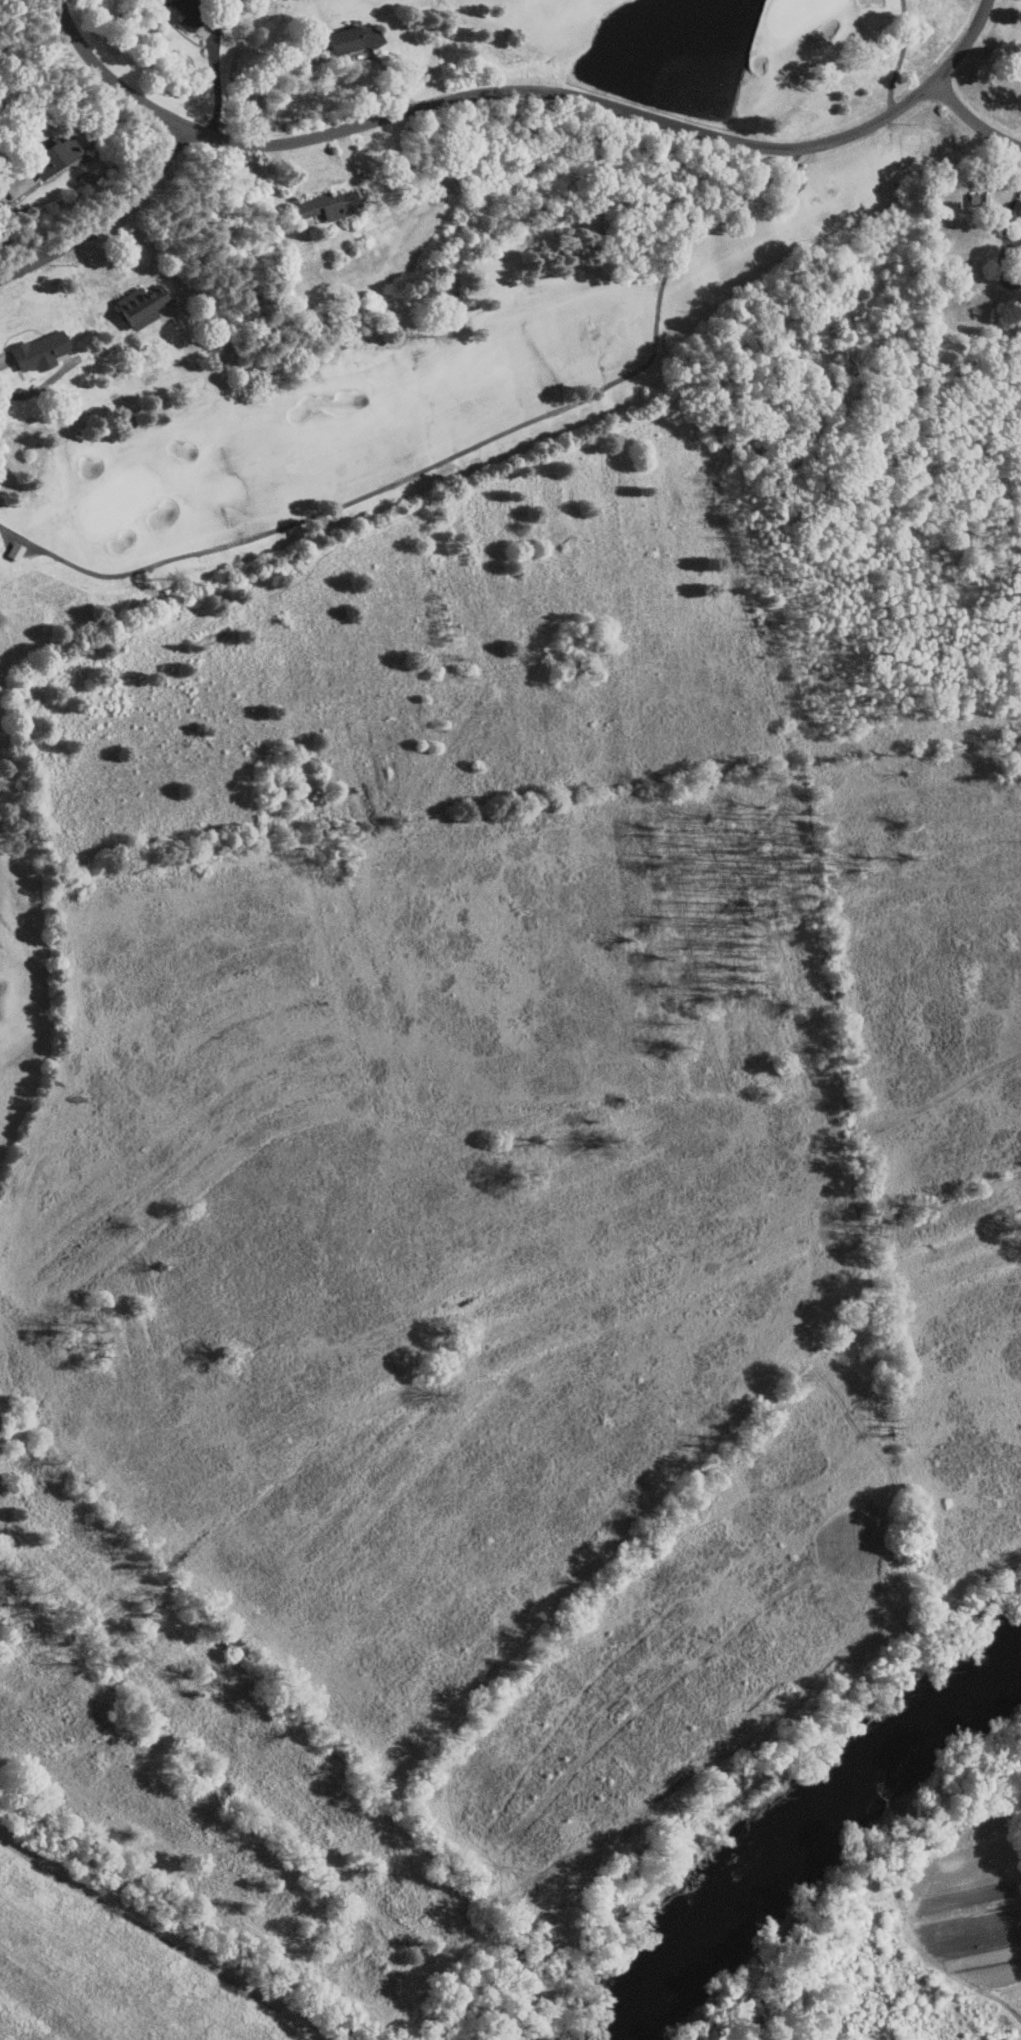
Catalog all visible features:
building: (183, 12)
building: (354, 37)
road: (919, 47)
road: (319, 59)
road: (217, 68)
road: (526, 91)
road: (973, 121)
building: (47, 154)
building: (326, 204)
road: (109, 220)
building: (137, 305)
building: (36, 351)
road: (31, 391)
building: (13, 551)
park: (500, 776)
river: (813, 1838)

